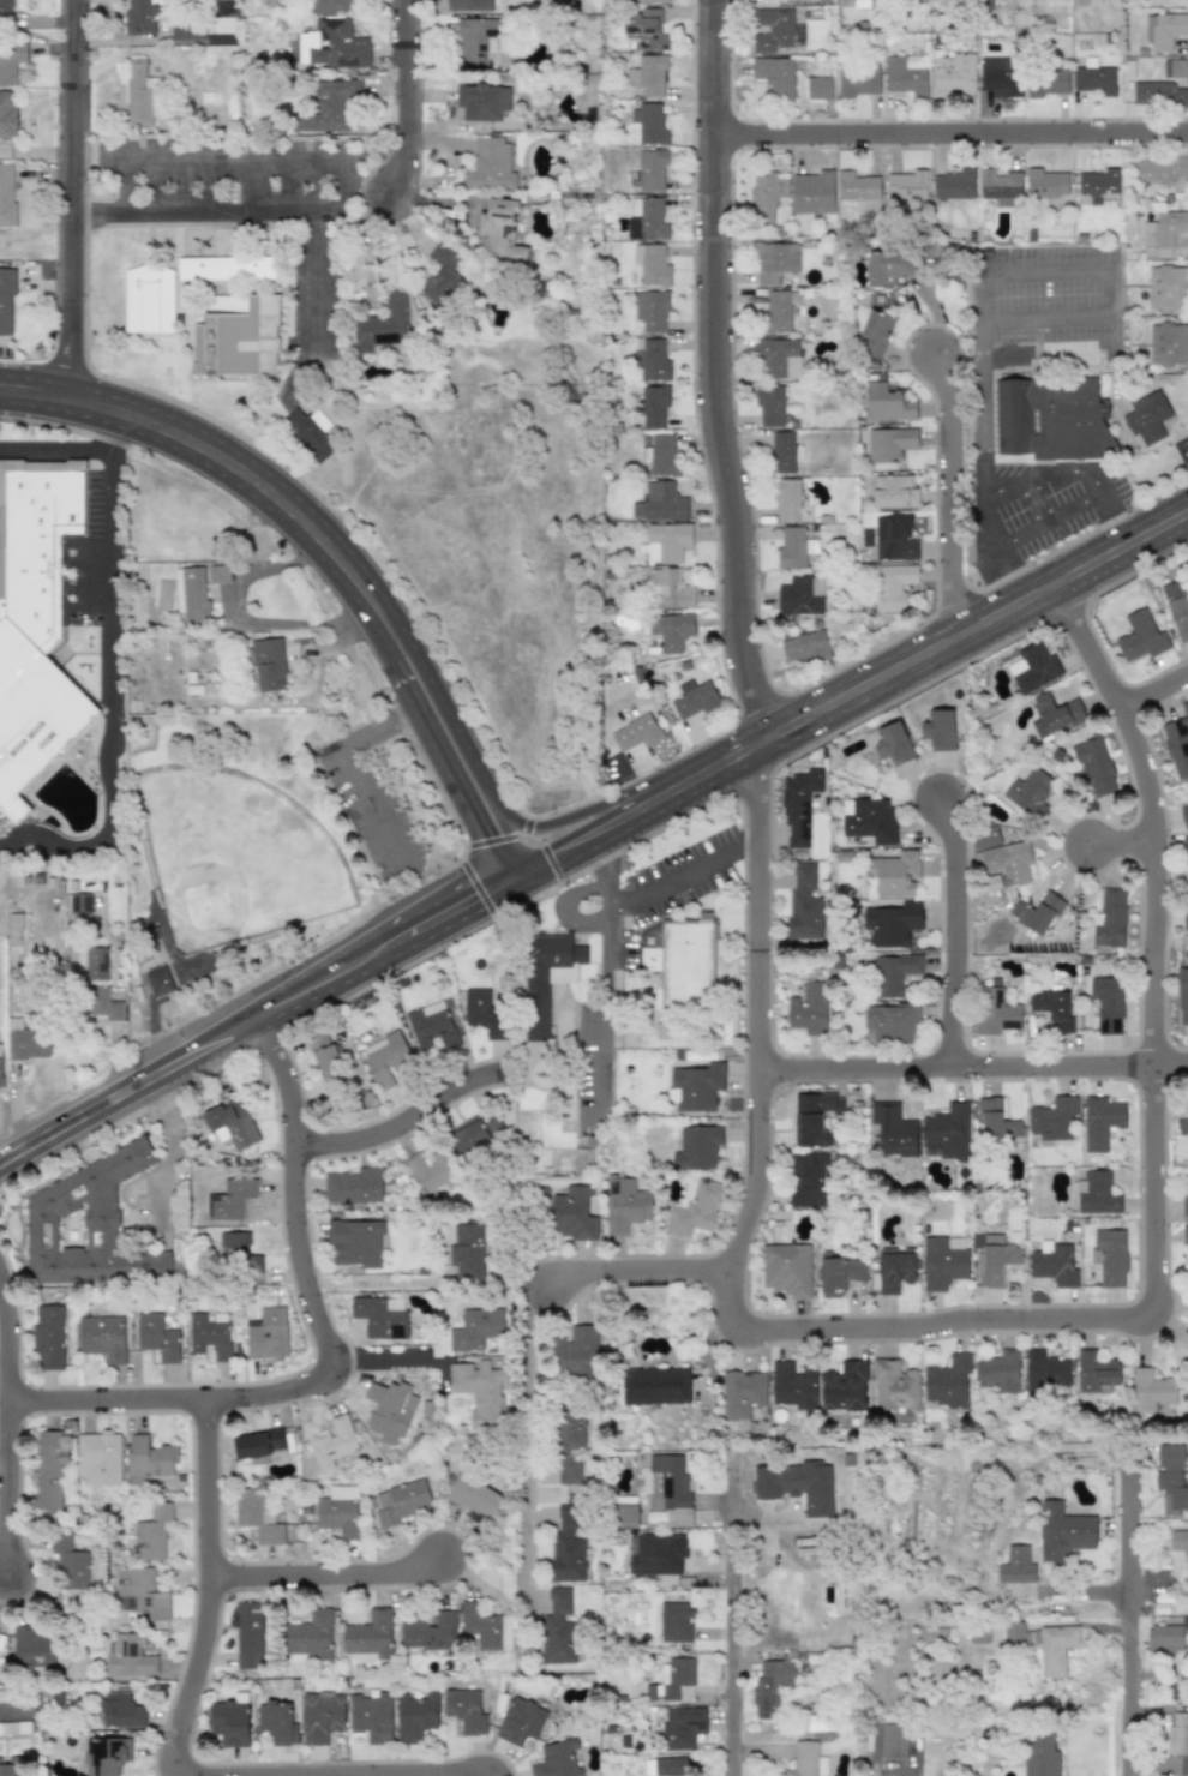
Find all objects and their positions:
building: (654, 0)
building: (1093, 2)
building: (469, 5)
building: (985, 5)
building: (329, 6)
building: (6, 11)
building: (140, 17)
building: (198, 28)
building: (644, 28)
building: (773, 29)
building: (1164, 29)
building: (473, 40)
building: (332, 44)
building: (1175, 67)
building: (8, 68)
building: (906, 74)
building: (952, 74)
building: (648, 76)
building: (775, 77)
building: (1000, 77)
building: (1094, 78)
building: (1045, 82)
building: (857, 83)
building: (818, 88)
building: (138, 94)
building: (1158, 94)
road: (409, 101)
building: (484, 102)
building: (331, 108)
building: (7, 114)
building: (649, 124)
road: (954, 144)
road: (227, 161)
building: (491, 164)
building: (649, 170)
building: (1159, 170)
building: (906, 184)
building: (954, 184)
building: (1046, 184)
building: (1098, 184)
building: (1000, 185)
road: (126, 187)
building: (859, 190)
road: (76, 191)
road: (346, 192)
building: (812, 192)
building: (6, 193)
building: (766, 194)
road: (211, 214)
building: (647, 218)
building: (499, 233)
building: (1163, 233)
building: (775, 260)
building: (650, 264)
building: (888, 266)
building: (226, 268)
road: (1105, 269)
building: (444, 274)
road: (319, 281)
building: (1166, 287)
building: (149, 300)
building: (6, 301)
building: (650, 310)
building: (776, 312)
building: (386, 324)
building: (877, 332)
building: (244, 334)
building: (1168, 343)
building: (775, 355)
building: (652, 360)
road: (719, 373)
road: (61, 396)
building: (888, 403)
building: (769, 404)
building: (653, 406)
building: (1003, 416)
building: (1146, 416)
building: (1060, 419)
building: (311, 431)
building: (890, 444)
road: (58, 449)
building: (784, 452)
building: (660, 454)
road: (980, 466)
road: (1073, 470)
road: (950, 490)
building: (894, 492)
building: (786, 499)
building: (661, 502)
road: (313, 514)
road: (1044, 522)
building: (895, 538)
building: (667, 541)
building: (793, 548)
road: (322, 562)
building: (218, 574)
building: (893, 587)
building: (667, 588)
building: (191, 594)
building: (800, 595)
building: (1176, 608)
road: (244, 618)
building: (34, 619)
building: (671, 630)
building: (1139, 636)
building: (804, 648)
building: (268, 665)
building: (1032, 667)
road: (110, 688)
road: (1154, 689)
road: (850, 691)
building: (694, 698)
building: (1054, 715)
building: (940, 730)
building: (635, 733)
building: (890, 743)
building: (1177, 743)
building: (1093, 766)
road: (341, 770)
building: (1031, 791)
building: (798, 806)
road: (583, 810)
building: (1184, 814)
building: (869, 820)
building: (985, 838)
road: (509, 841)
road: (1122, 846)
building: (1186, 846)
park: (234, 857)
road: (599, 858)
park: (238, 860)
building: (1002, 864)
building: (894, 872)
road: (682, 875)
road: (604, 901)
building: (79, 902)
building: (804, 904)
road: (563, 905)
building: (1037, 912)
building: (1186, 918)
building: (1109, 919)
building: (892, 924)
road: (952, 929)
building: (686, 960)
building: (95, 962)
building: (893, 974)
building: (547, 976)
building: (157, 980)
building: (1182, 995)
building: (1108, 1003)
building: (102, 1004)
building: (808, 1008)
road: (757, 1009)
building: (1052, 1009)
building: (995, 1012)
road: (257, 1016)
building: (888, 1022)
building: (431, 1026)
road: (602, 1030)
building: (30, 1044)
building: (385, 1055)
building: (325, 1058)
building: (0, 1066)
road: (973, 1067)
building: (696, 1087)
building: (812, 1117)
building: (1052, 1118)
road: (404, 1120)
building: (996, 1121)
building: (1100, 1121)
building: (233, 1122)
building: (1182, 1127)
building: (948, 1130)
building: (893, 1132)
building: (475, 1133)
road: (173, 1141)
building: (697, 1147)
building: (931, 1153)
building: (432, 1171)
road: (1154, 1177)
building: (808, 1180)
building: (354, 1186)
building: (1097, 1193)
building: (1186, 1195)
building: (230, 1199)
building: (625, 1204)
building: (692, 1208)
building: (571, 1214)
building: (86, 1224)
building: (1184, 1235)
building: (355, 1242)
building: (236, 1250)
building: (468, 1250)
building: (1110, 1256)
building: (995, 1259)
building: (942, 1261)
building: (1052, 1264)
building: (786, 1268)
road: (637, 1270)
building: (893, 1271)
building: (839, 1276)
building: (380, 1316)
building: (266, 1333)
building: (48, 1336)
building: (102, 1337)
building: (157, 1337)
building: (208, 1337)
road: (6, 1350)
road: (326, 1352)
building: (577, 1354)
building: (1187, 1354)
building: (998, 1372)
building: (1045, 1372)
building: (1096, 1372)
building: (946, 1381)
building: (793, 1385)
building: (655, 1386)
building: (894, 1386)
building: (844, 1387)
building: (1150, 1390)
building: (479, 1392)
building: (742, 1392)
building: (386, 1409)
road: (527, 1441)
building: (332, 1442)
building: (259, 1445)
building: (565, 1451)
building: (98, 1457)
building: (148, 1459)
building: (47, 1470)
building: (1172, 1477)
building: (797, 1486)
road: (6, 1487)
building: (668, 1489)
building: (473, 1495)
building: (400, 1501)
building: (257, 1516)
building: (337, 1516)
building: (1064, 1534)
building: (568, 1542)
building: (1178, 1550)
building: (658, 1554)
building: (68, 1562)
building: (1018, 1566)
road: (323, 1571)
road: (208, 1588)
building: (138, 1594)
road: (1132, 1620)
building: (674, 1622)
road: (732, 1625)
building: (485, 1627)
building: (558, 1627)
building: (427, 1631)
building: (368, 1634)
building: (306, 1636)
building: (1165, 1638)
building: (1044, 1644)
building: (31, 1649)
building: (126, 1655)
building: (674, 1676)
building: (772, 1686)
building: (4, 1696)
building: (464, 1710)
road: (17, 1711)
building: (120, 1711)
building: (322, 1716)
building: (371, 1716)
building: (415, 1716)
building: (521, 1721)
building: (229, 1722)
building: (276, 1723)
building: (682, 1727)
building: (13, 1728)
building: (893, 1740)
building: (1178, 1740)
building: (1040, 1754)
building: (104, 1756)
building: (557, 1759)
building: (806, 1760)
building: (14, 1766)
building: (672, 1766)
road: (400, 1774)

